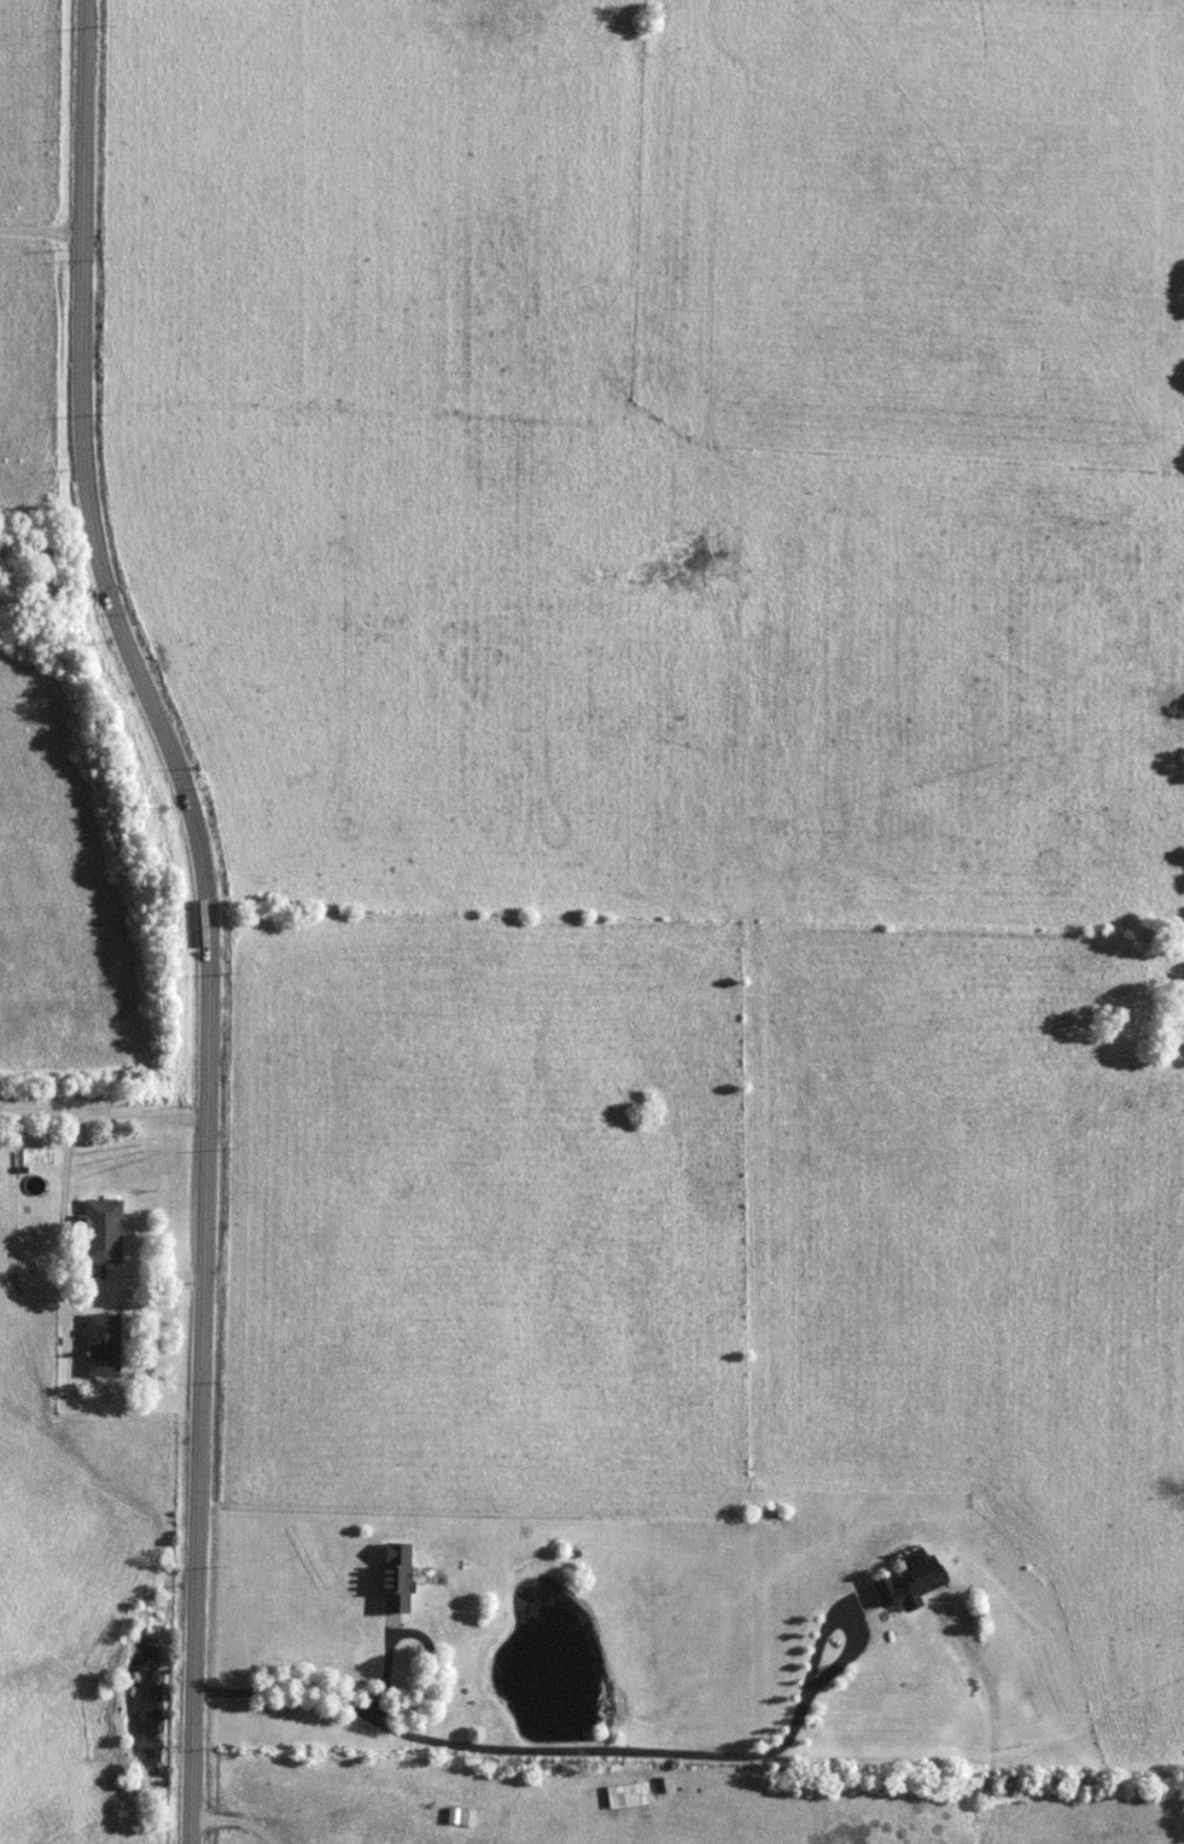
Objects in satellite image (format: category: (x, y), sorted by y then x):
road: (47, 228)
crop: (57, 897)
road: (217, 912)
road: (109, 1106)
road: (77, 1161)
building: (117, 1229)
road: (158, 1273)
road: (129, 1282)
building: (112, 1342)
building: (408, 1573)
building: (904, 1580)
road: (397, 1665)
road: (618, 1747)

